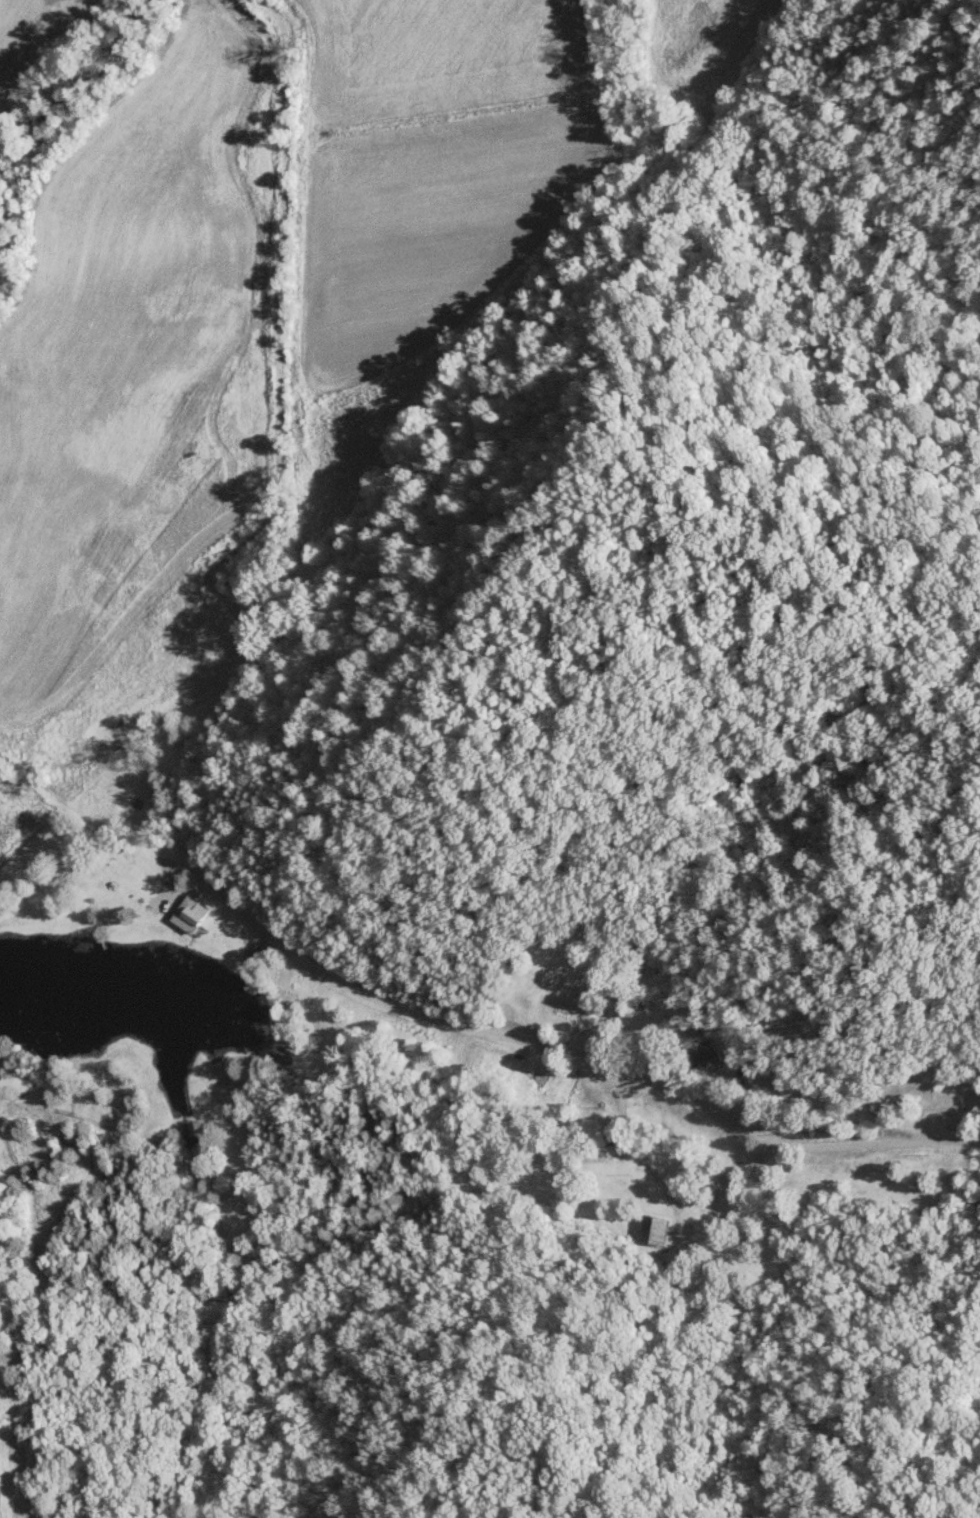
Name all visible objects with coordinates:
building: (188, 914)
building: (698, 1047)
road: (565, 1049)
building: (651, 1228)

